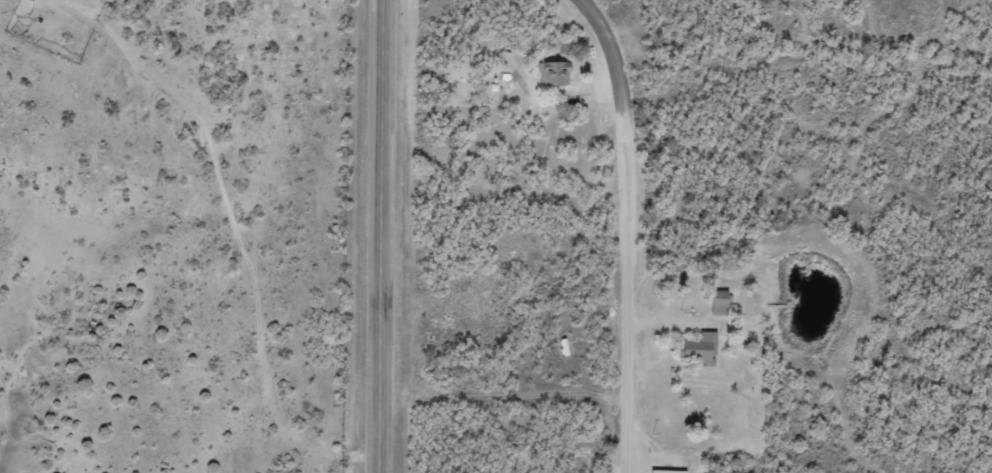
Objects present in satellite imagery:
building: (549, 73)
road: (265, 199)
road: (654, 222)
road: (380, 236)
building: (713, 302)
building: (692, 350)
road: (517, 406)
road: (320, 453)
building: (661, 471)

